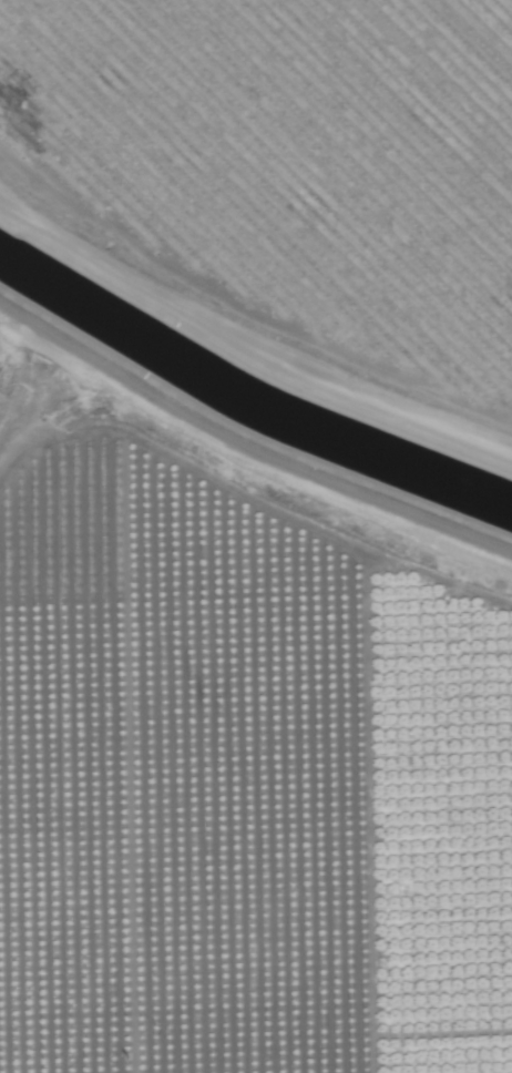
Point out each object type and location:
crop: (239, 732)

